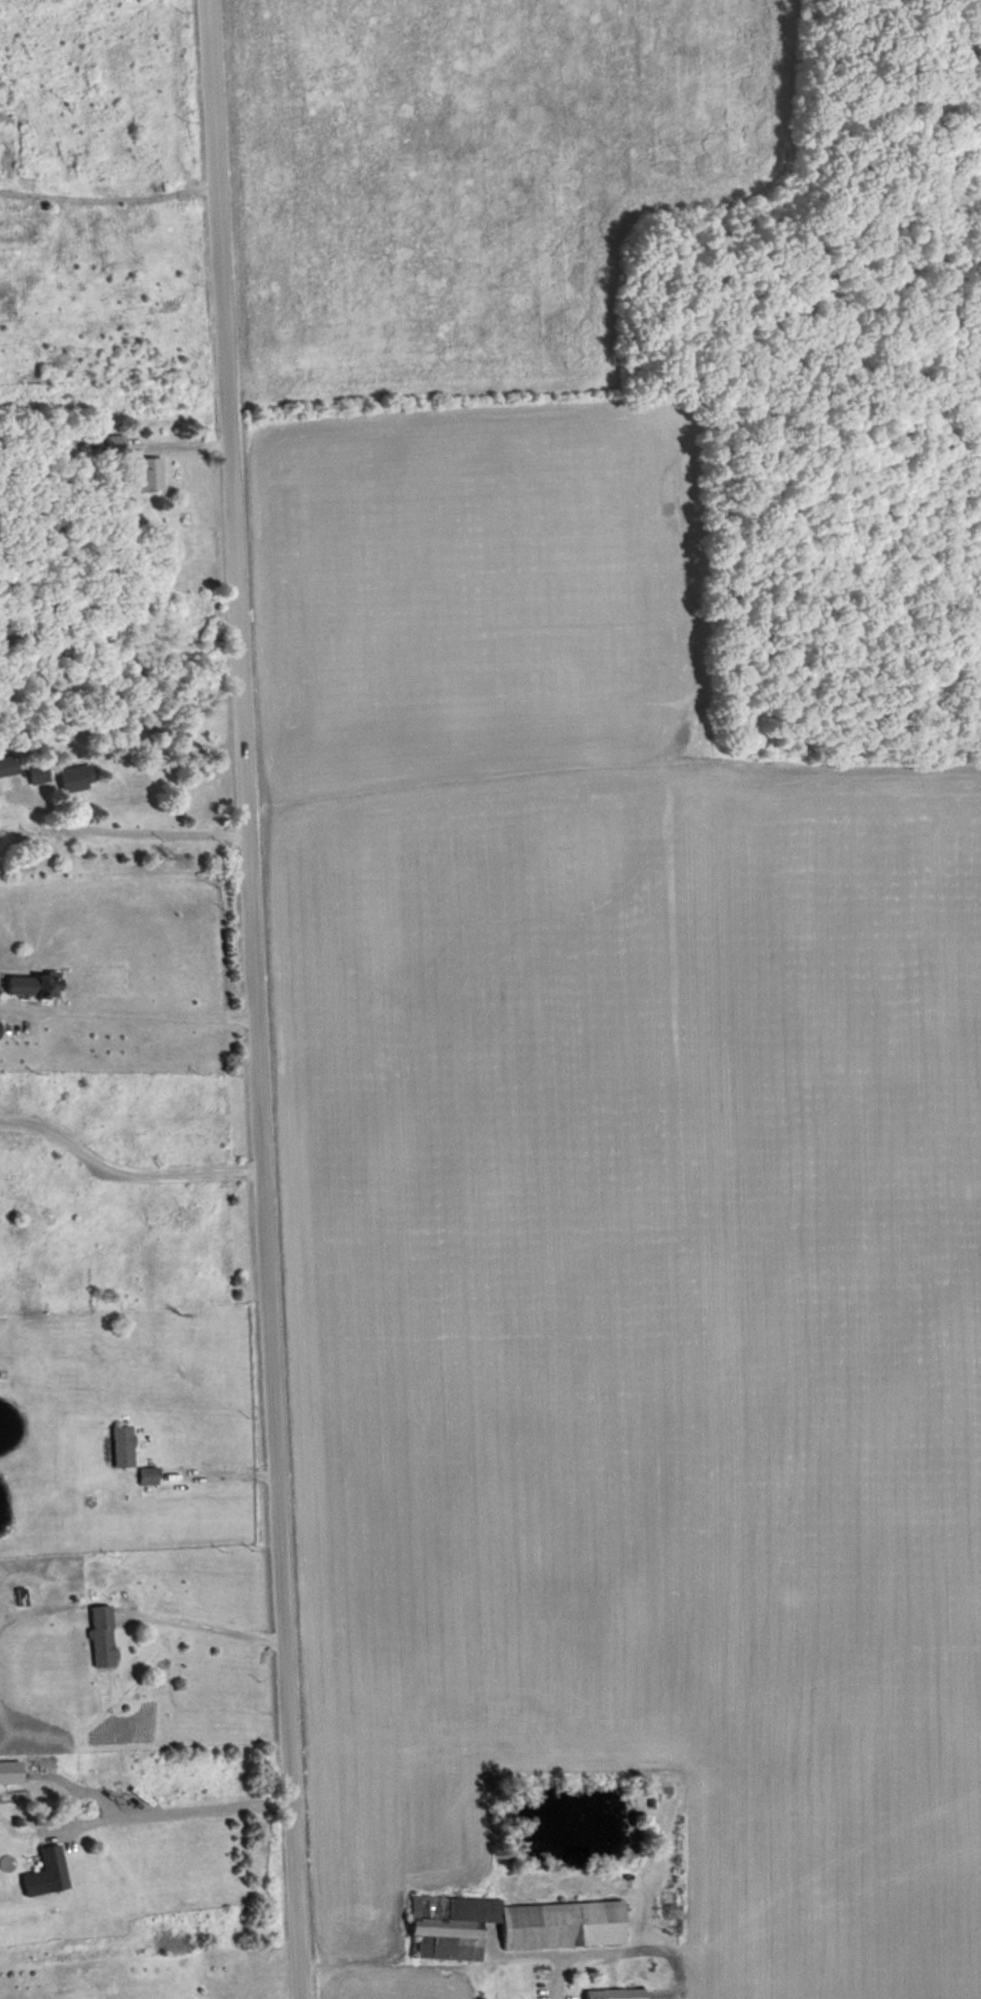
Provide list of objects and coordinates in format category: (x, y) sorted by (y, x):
building: (116, 443)
building: (150, 473)
building: (24, 770)
building: (76, 778)
building: (35, 986)
road: (249, 999)
building: (122, 1446)
building: (148, 1476)
road: (198, 1624)
building: (102, 1648)
building: (48, 1874)
building: (515, 1922)
building: (615, 1993)

